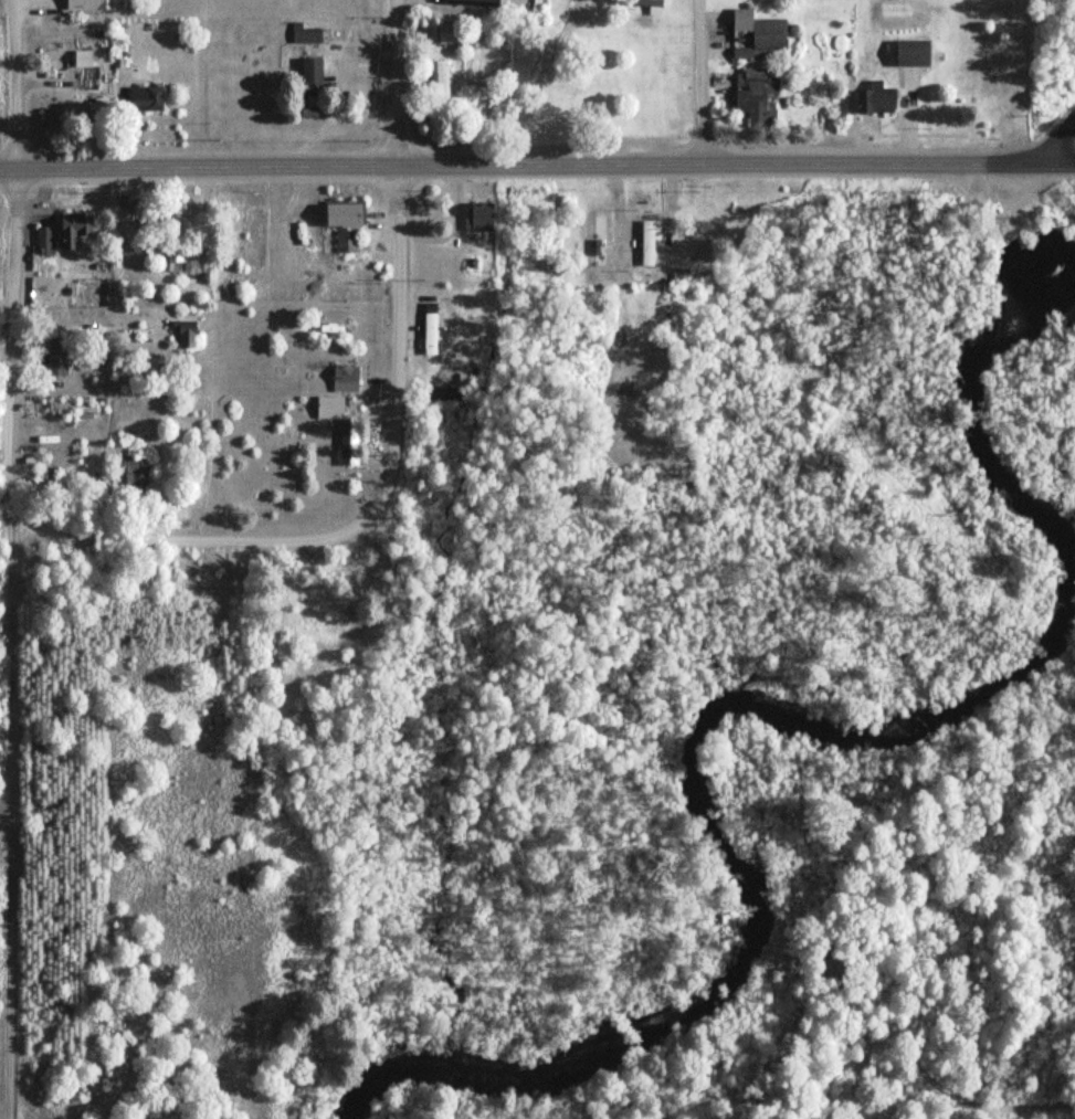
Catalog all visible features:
building: (475, 2)
building: (93, 4)
building: (653, 4)
building: (762, 32)
building: (307, 33)
building: (450, 33)
building: (916, 53)
building: (84, 59)
building: (315, 71)
road: (700, 81)
building: (444, 82)
building: (911, 82)
road: (203, 84)
road: (398, 84)
building: (756, 88)
building: (151, 97)
building: (878, 98)
building: (99, 118)
road: (1065, 144)
road: (537, 166)
road: (1032, 188)
road: (1071, 212)
building: (483, 218)
building: (349, 225)
building: (77, 229)
building: (46, 239)
building: (601, 240)
building: (652, 242)
building: (177, 249)
park: (1019, 275)
building: (431, 329)
building: (190, 332)
road: (397, 350)
building: (60, 357)
building: (348, 381)
building: (73, 408)
building: (333, 408)
building: (351, 446)
building: (139, 467)
road: (15, 473)
road: (182, 538)
river: (759, 704)

